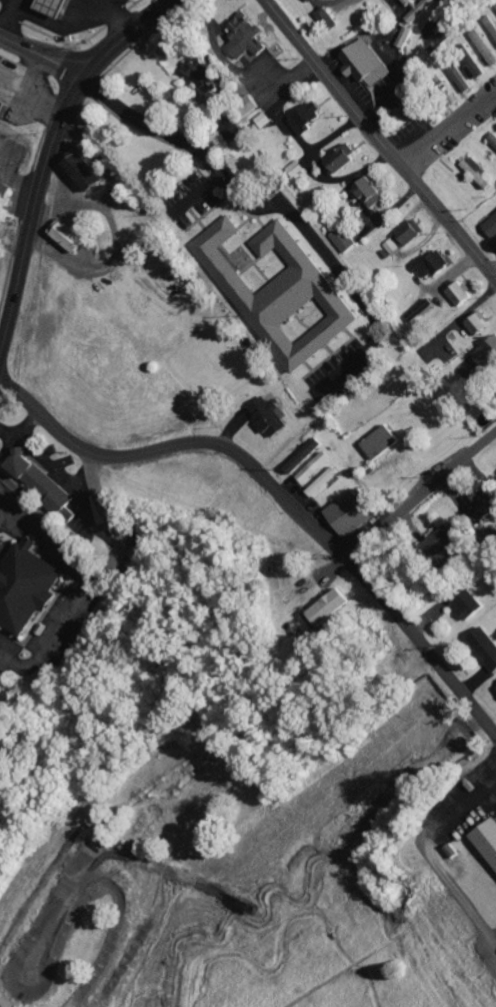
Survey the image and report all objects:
building: (308, 0)
building: (495, 7)
building: (419, 8)
building: (48, 9)
building: (327, 19)
building: (492, 24)
road: (131, 37)
building: (248, 37)
building: (405, 37)
building: (484, 47)
road: (43, 58)
building: (368, 64)
building: (475, 69)
building: (458, 75)
building: (251, 105)
building: (5, 108)
building: (309, 118)
building: (265, 120)
building: (234, 129)
road: (450, 129)
road: (379, 140)
building: (493, 140)
building: (343, 160)
building: (85, 172)
building: (478, 172)
building: (4, 192)
building: (373, 193)
road: (33, 212)
building: (492, 227)
building: (68, 236)
building: (404, 238)
building: (346, 239)
building: (433, 265)
road: (494, 273)
building: (461, 294)
building: (284, 295)
building: (421, 312)
building: (481, 323)
building: (487, 354)
building: (271, 417)
building: (381, 442)
building: (306, 456)
building: (317, 468)
building: (325, 482)
building: (43, 484)
road: (279, 491)
road: (421, 497)
building: (486, 504)
building: (354, 512)
building: (445, 540)
building: (27, 588)
building: (469, 605)
building: (331, 608)
building: (486, 646)
building: (488, 839)

